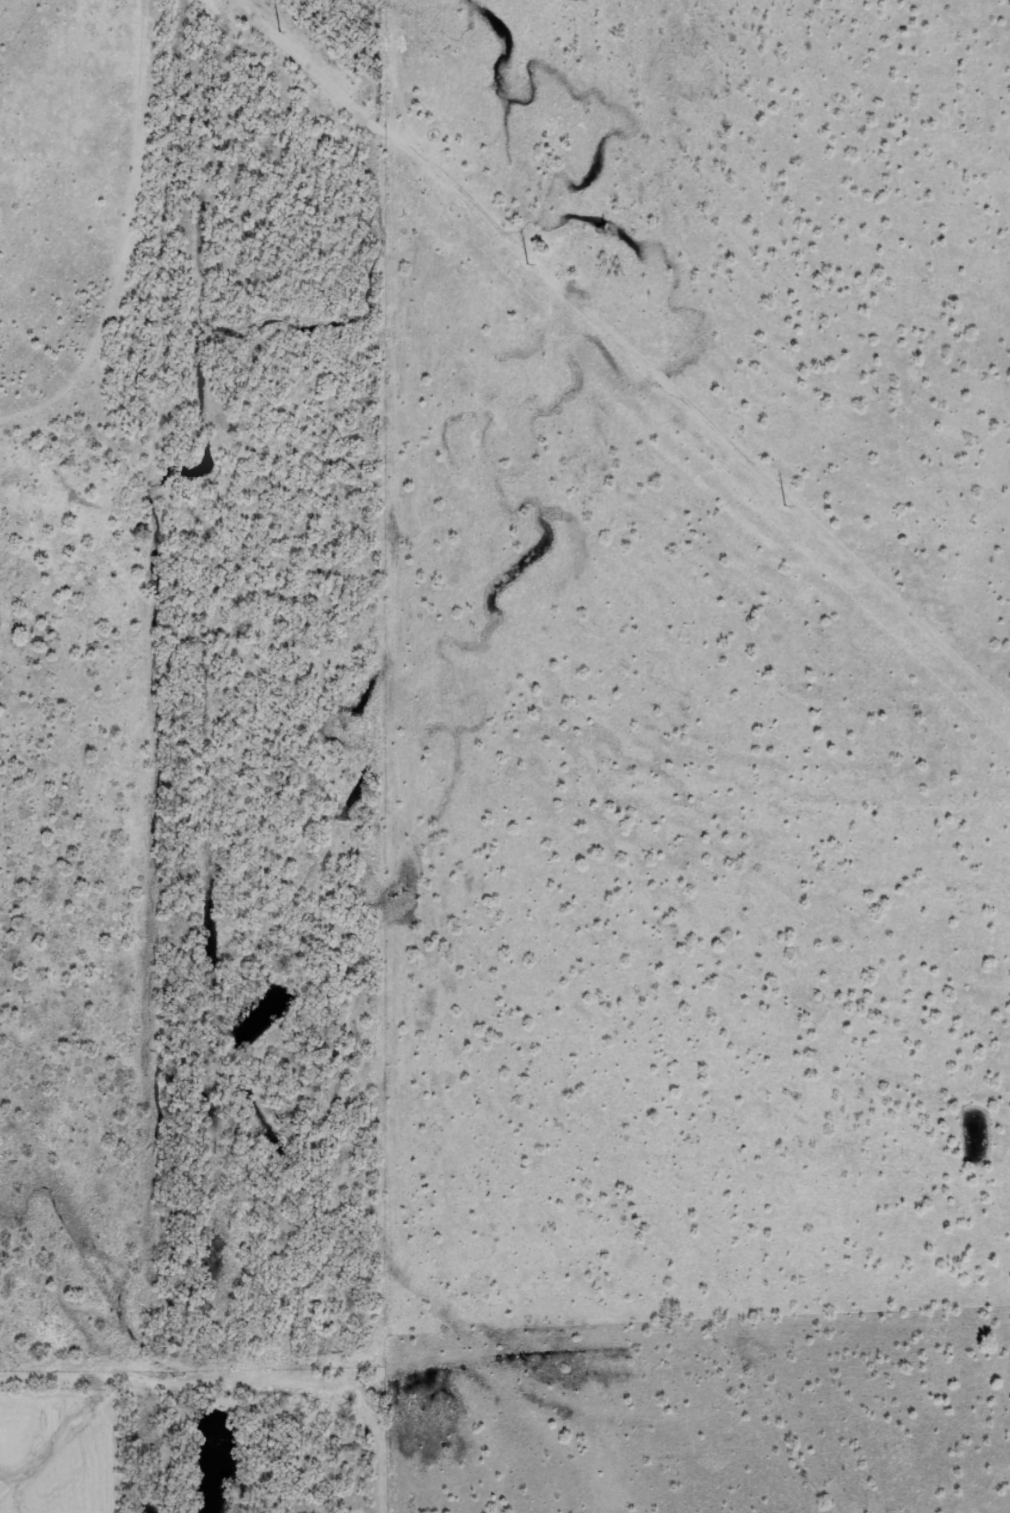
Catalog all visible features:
road: (201, 1344)

